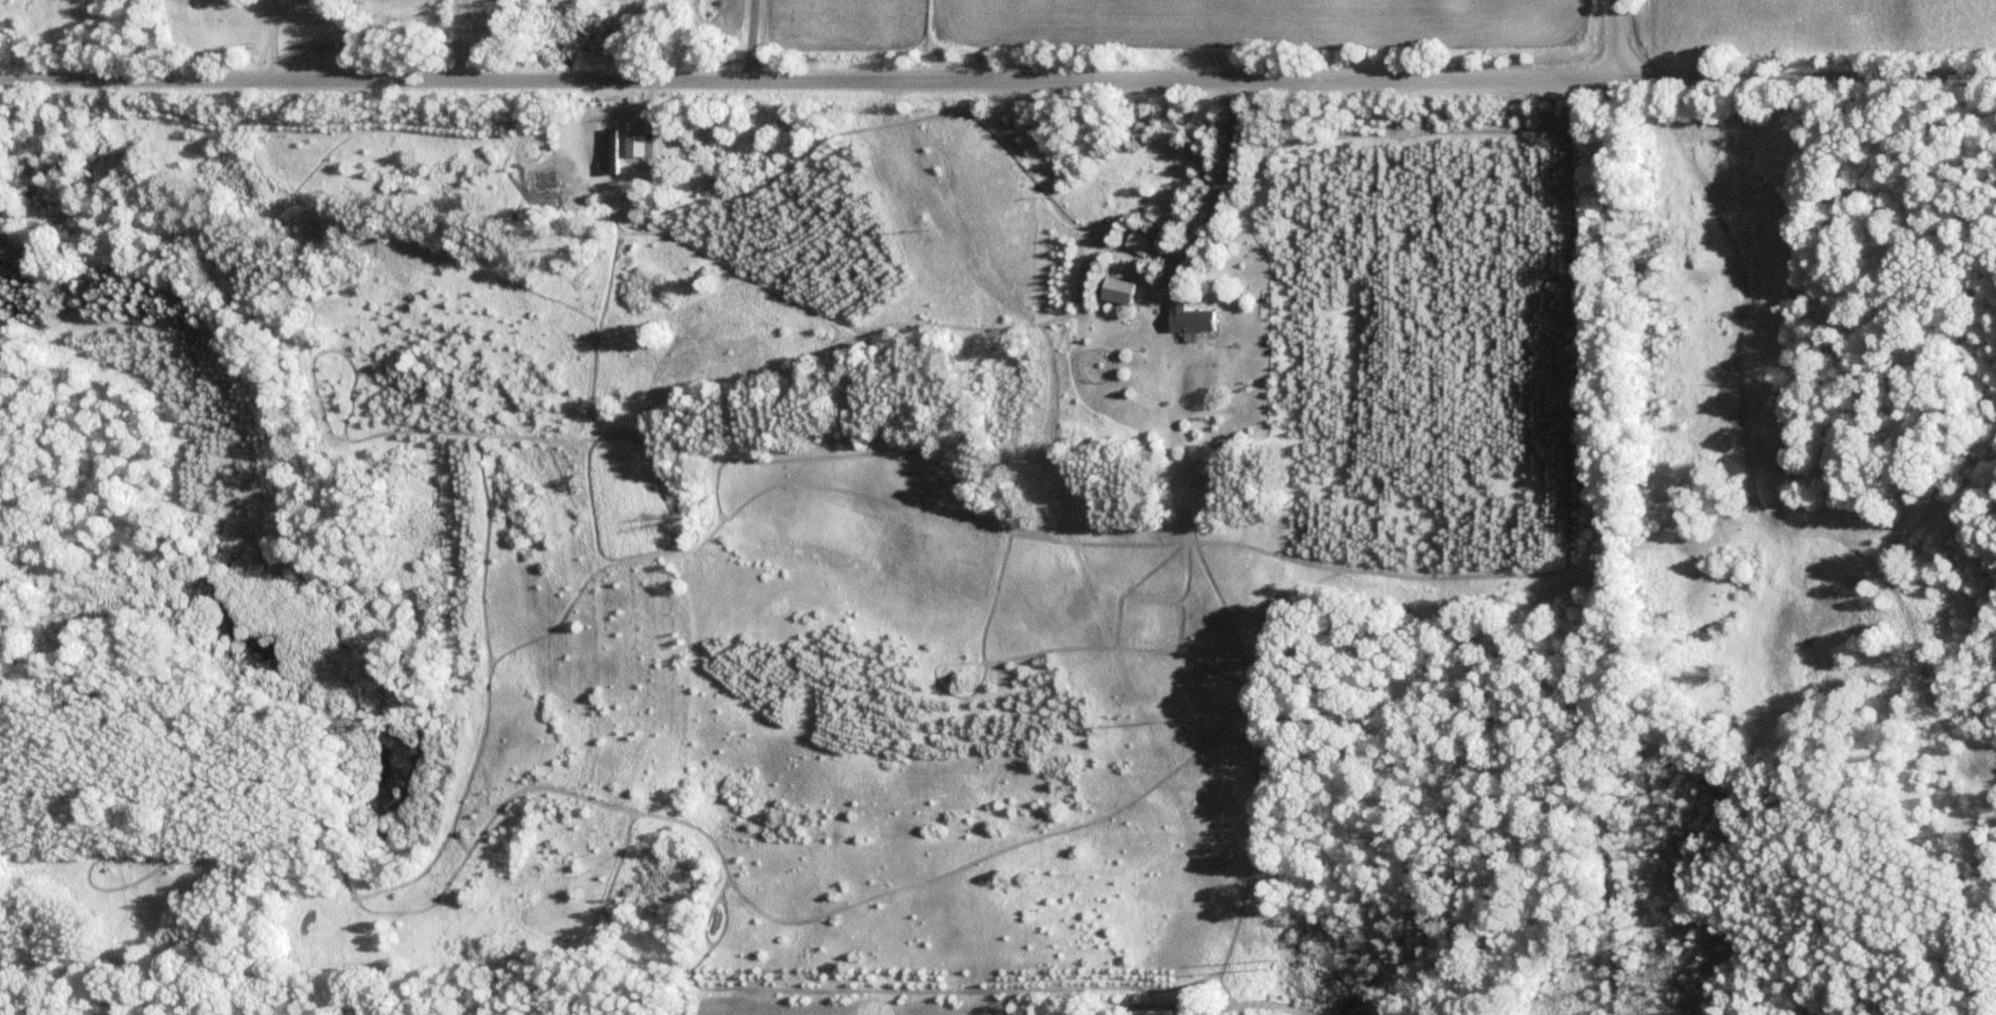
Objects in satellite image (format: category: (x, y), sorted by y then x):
road: (1616, 39)
road: (998, 79)
building: (638, 124)
building: (614, 140)
building: (643, 146)
building: (1137, 242)
building: (1116, 290)
building: (1189, 317)

